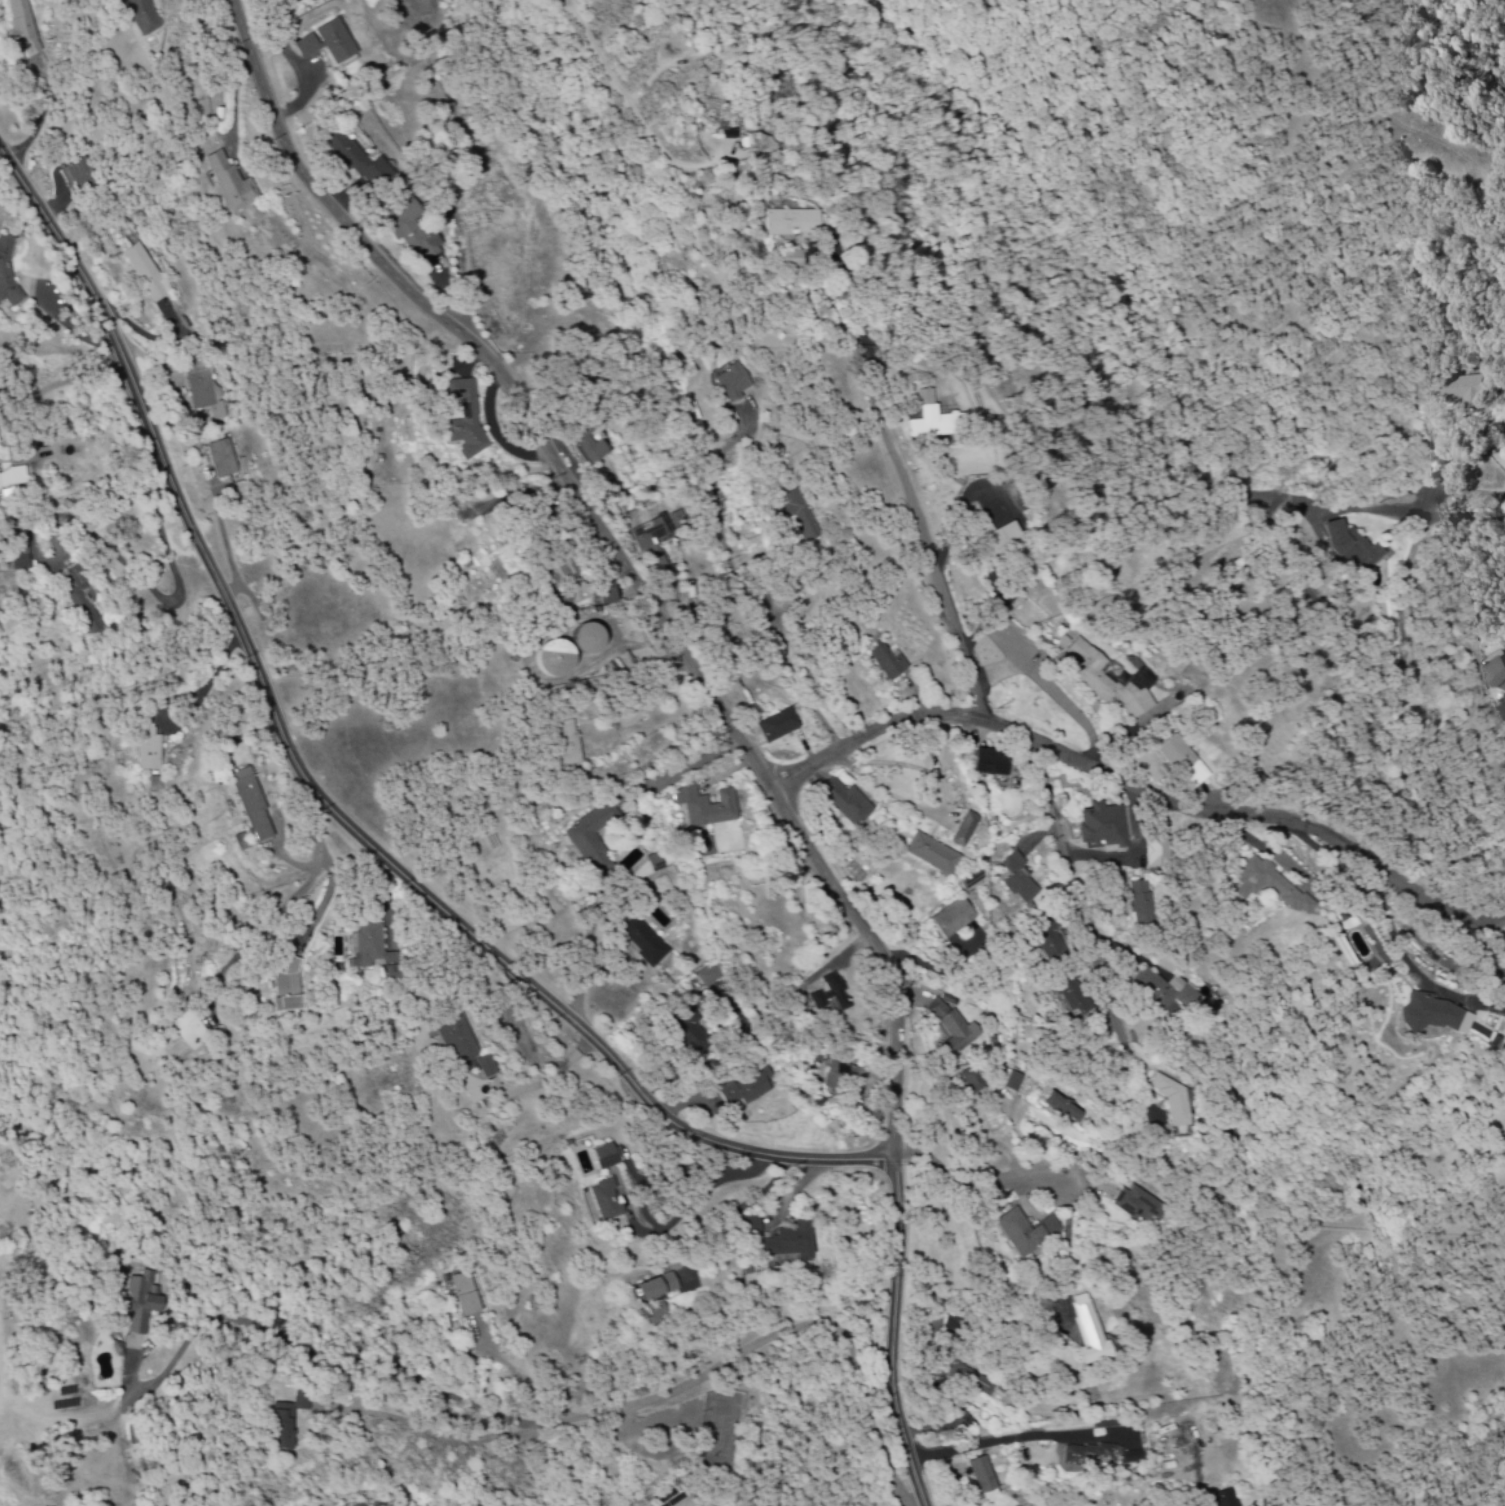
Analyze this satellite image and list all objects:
building: (146, 17)
building: (24, 26)
building: (332, 45)
road: (234, 96)
building: (770, 147)
building: (366, 164)
building: (79, 174)
building: (234, 185)
building: (804, 221)
building: (8, 273)
building: (149, 273)
building: (735, 383)
building: (205, 388)
building: (1465, 391)
building: (471, 420)
building: (943, 420)
building: (596, 445)
building: (224, 460)
road: (1379, 512)
building: (803, 517)
road: (920, 526)
building: (660, 537)
building: (1008, 540)
building: (1354, 546)
building: (21, 559)
road: (622, 562)
road: (746, 584)
building: (585, 587)
building: (84, 602)
building: (595, 640)
building: (560, 660)
building: (891, 664)
building: (1503, 669)
building: (1148, 680)
building: (1112, 681)
building: (779, 727)
building: (572, 744)
building: (150, 751)
building: (994, 764)
building: (1191, 764)
road: (317, 797)
road: (1135, 799)
building: (849, 804)
building: (254, 805)
building: (708, 808)
building: (1106, 827)
building: (968, 831)
building: (595, 840)
building: (1163, 853)
building: (935, 855)
building: (661, 862)
building: (1021, 880)
building: (1279, 887)
road: (1075, 893)
building: (1145, 904)
building: (955, 919)
road: (1385, 927)
building: (646, 944)
building: (1054, 948)
building: (379, 952)
building: (712, 976)
building: (287, 989)
building: (1167, 991)
building: (833, 997)
building: (1075, 999)
building: (959, 1030)
building: (694, 1035)
building: (459, 1039)
road: (996, 1065)
building: (490, 1068)
building: (842, 1076)
building: (976, 1081)
building: (1017, 1083)
building: (748, 1090)
building: (1172, 1101)
building: (1067, 1111)
building: (608, 1158)
road: (981, 1186)
building: (609, 1202)
building: (1138, 1206)
building: (1029, 1233)
building: (791, 1247)
building: (661, 1289)
building: (467, 1296)
building: (143, 1303)
building: (658, 1314)
building: (955, 1328)
road: (893, 1338)
building: (291, 1423)
road: (557, 1429)
park: (719, 1430)
road: (987, 1446)
building: (1094, 1458)
building: (1135, 1458)
building: (987, 1480)
building: (1229, 1499)

